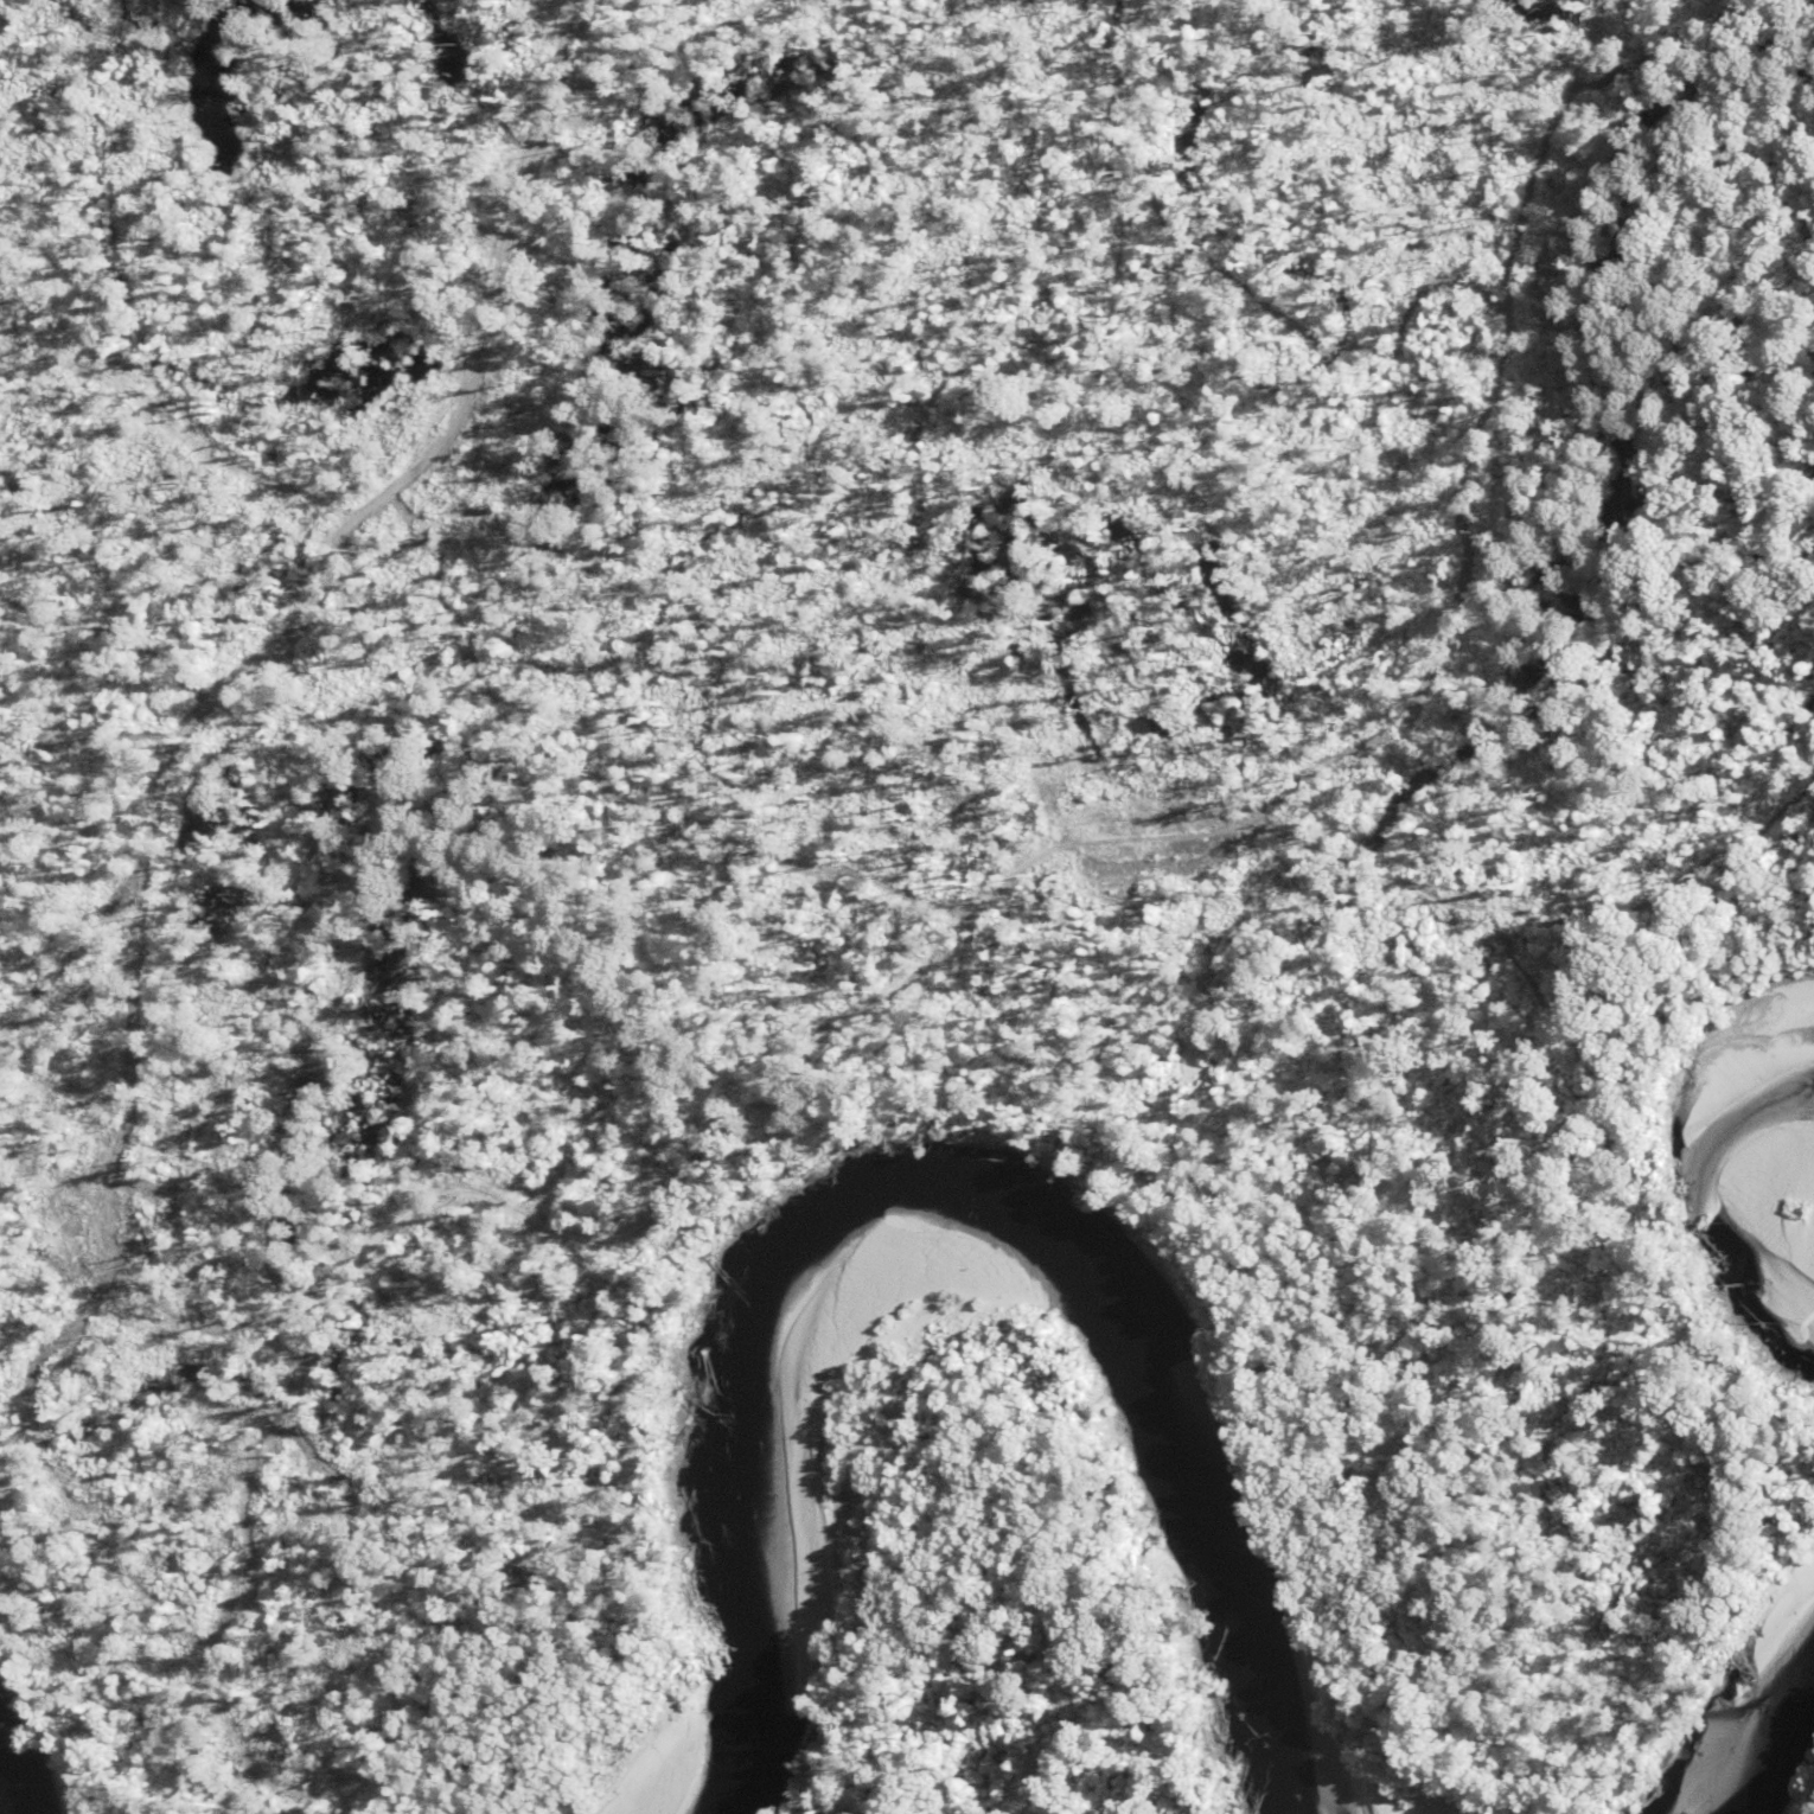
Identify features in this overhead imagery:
river: (1789, 1068)
river: (996, 1253)
river: (1783, 1754)
river: (23, 1795)

